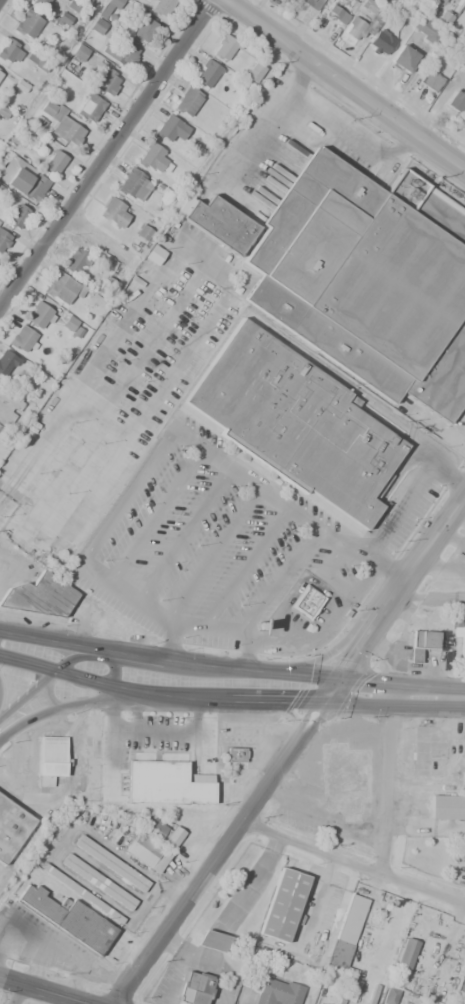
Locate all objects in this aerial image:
building: (454, 0)
building: (40, 4)
building: (112, 4)
building: (312, 4)
building: (162, 6)
building: (336, 14)
building: (362, 22)
building: (27, 24)
building: (97, 26)
building: (420, 26)
building: (143, 29)
building: (380, 42)
building: (225, 46)
building: (10, 51)
building: (79, 52)
building: (121, 54)
building: (402, 59)
building: (36, 62)
building: (462, 63)
building: (254, 71)
building: (0, 72)
building: (207, 74)
building: (430, 80)
building: (107, 82)
road: (345, 84)
building: (454, 100)
building: (187, 101)
building: (90, 107)
building: (60, 123)
building: (170, 128)
road: (104, 153)
building: (153, 158)
building: (53, 163)
building: (26, 183)
building: (134, 185)
building: (114, 212)
building: (17, 216)
building: (220, 224)
building: (143, 233)
building: (3, 239)
building: (154, 255)
building: (75, 261)
building: (369, 279)
building: (62, 287)
building: (40, 316)
building: (68, 323)
building: (22, 339)
building: (6, 363)
building: (8, 405)
building: (294, 422)
building: (39, 595)
building: (305, 601)
building: (421, 643)
building: (460, 643)
road: (230, 684)
traffic signals: (330, 689)
road: (32, 693)
road: (289, 749)
building: (235, 755)
building: (51, 759)
building: (167, 783)
road: (384, 784)
building: (447, 807)
building: (11, 827)
building: (161, 833)
building: (145, 852)
building: (111, 863)
road: (352, 863)
building: (98, 881)
building: (82, 893)
building: (282, 904)
building: (69, 919)
building: (351, 919)
building: (10, 929)
building: (377, 930)
building: (212, 941)
building: (406, 954)
building: (350, 961)
building: (194, 988)
building: (433, 990)
road: (43, 991)
building: (278, 993)
road: (14, 994)
building: (388, 995)

